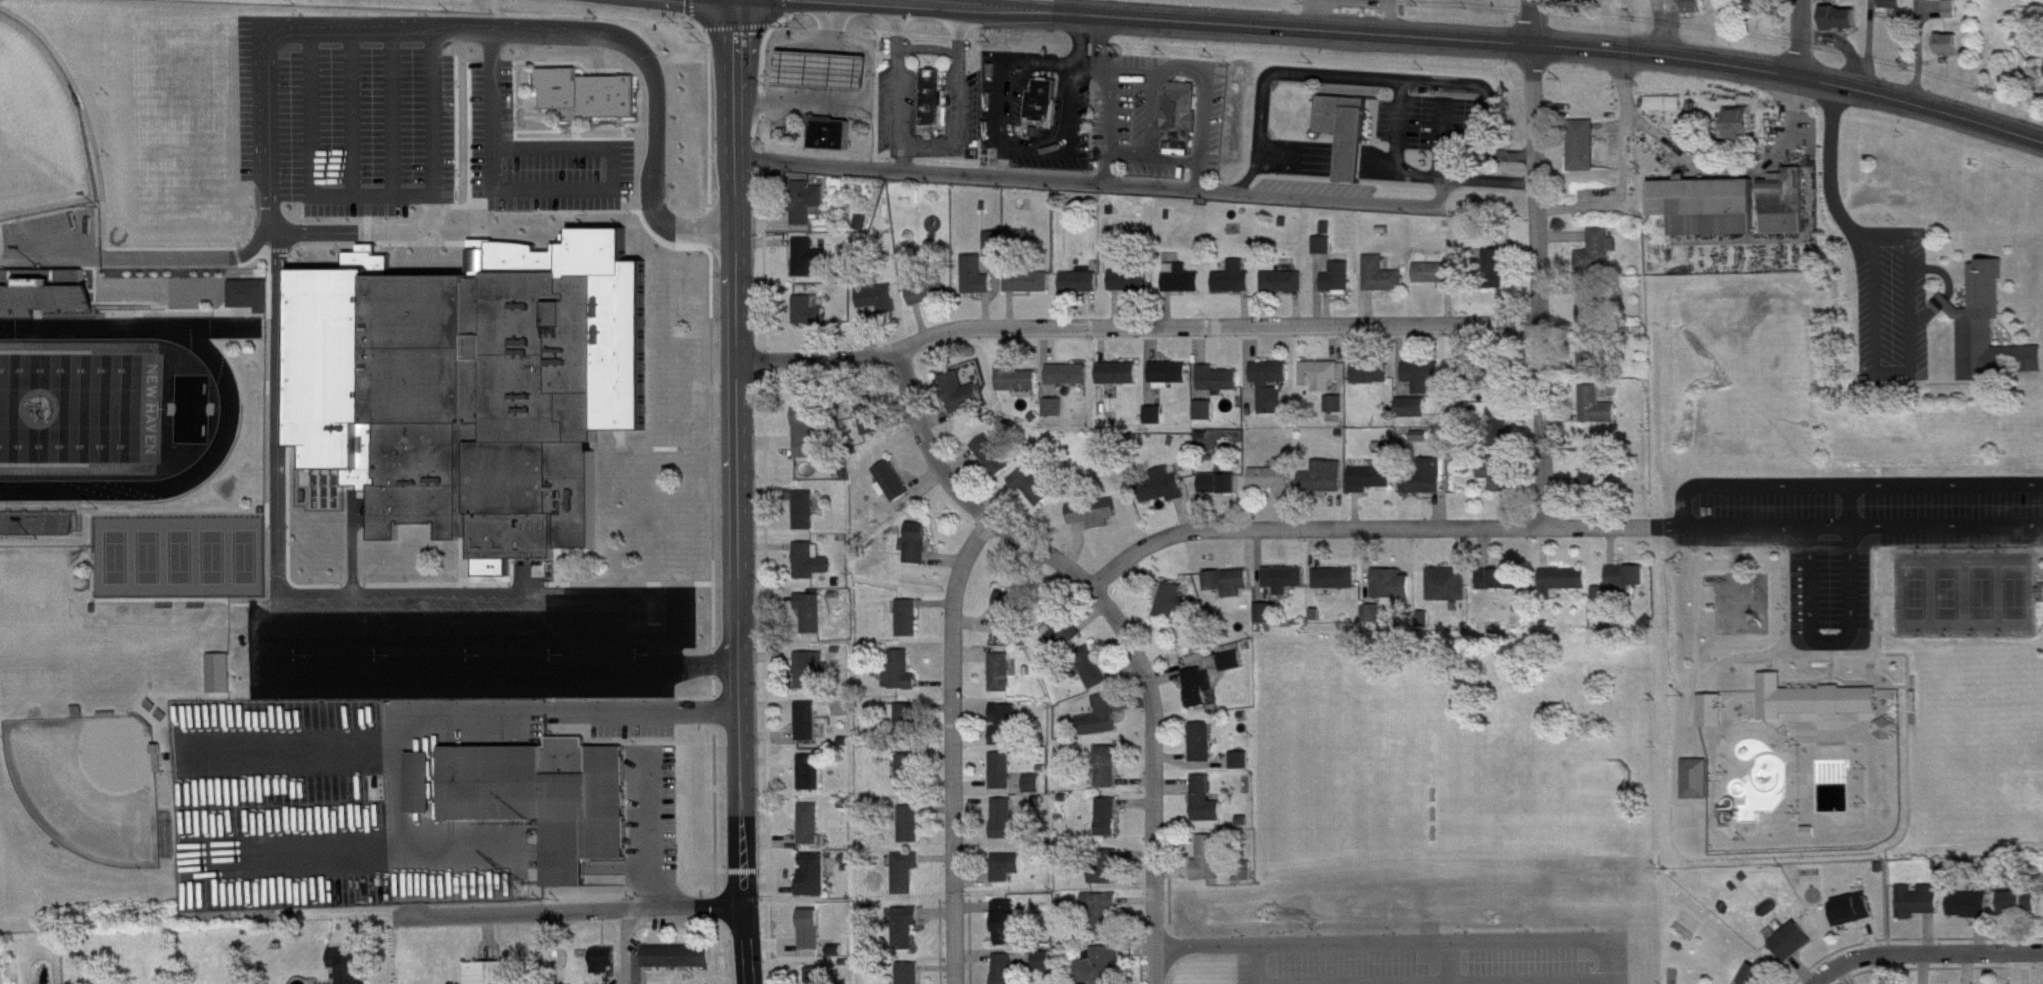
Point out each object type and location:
building: (1373, 4)
building: (1698, 12)
building: (1762, 13)
building: (1954, 18)
road: (1533, 21)
building: (1842, 27)
road: (895, 30)
building: (195, 33)
road: (588, 36)
road: (1799, 38)
road: (1075, 39)
road: (1474, 39)
road: (1101, 40)
road: (925, 47)
building: (190, 49)
building: (1950, 53)
road: (1088, 66)
road: (1128, 68)
road: (1273, 73)
building: (823, 79)
road: (1203, 90)
building: (586, 92)
road: (957, 98)
road: (1483, 100)
road: (898, 102)
building: (936, 106)
building: (1045, 109)
building: (1666, 112)
road: (349, 113)
road: (390, 113)
road: (430, 113)
road: (1152, 113)
road: (267, 114)
road: (309, 114)
road: (1111, 120)
parking lot: (343, 122)
building: (1183, 127)
park: (34, 130)
building: (1741, 132)
road: (1004, 134)
building: (1348, 140)
building: (834, 142)
road: (1395, 152)
road: (901, 153)
building: (1585, 154)
parking lot: (535, 155)
road: (1129, 155)
road: (1174, 157)
road: (1198, 171)
road: (1625, 173)
road: (1140, 180)
road: (553, 187)
road: (370, 194)
building: (809, 211)
building: (1785, 211)
building: (1708, 215)
road: (272, 219)
parking lot: (51, 230)
building: (865, 231)
building: (1329, 236)
building: (996, 252)
building: (1325, 253)
road: (146, 258)
building: (1599, 259)
building: (811, 266)
building: (1497, 277)
building: (1438, 283)
building: (977, 284)
building: (1384, 284)
road: (1536, 285)
building: (1183, 287)
building: (1235, 287)
building: (1340, 287)
building: (1132, 289)
building: (1082, 290)
building: (1285, 290)
building: (1029, 291)
building: (930, 301)
building: (251, 303)
building: (880, 307)
building: (45, 309)
building: (1594, 311)
building: (811, 319)
road: (277, 325)
road: (1133, 326)
building: (1989, 337)
building: (1591, 361)
building: (1465, 379)
building: (1171, 381)
building: (1120, 382)
building: (1374, 382)
building: (1069, 383)
building: (1322, 383)
building: (1424, 384)
building: (1495, 385)
building: (473, 386)
building: (1018, 387)
building: (1220, 387)
building: (1273, 393)
building: (963, 402)
track: (228, 403)
park: (79, 407)
building: (1337, 412)
building: (1599, 415)
building: (1055, 416)
building: (1415, 416)
building: (1206, 419)
building: (1157, 423)
building: (872, 425)
building: (1501, 432)
building: (809, 440)
building: (994, 464)
building: (1598, 476)
building: (1500, 482)
road: (1846, 484)
building: (1275, 486)
building: (1325, 486)
building: (1372, 487)
building: (1428, 487)
building: (896, 490)
road: (737, 492)
building: (1222, 492)
building: (1035, 495)
building: (1164, 495)
road: (1849, 504)
building: (807, 519)
building: (1096, 522)
road: (1760, 524)
road: (1946, 524)
road: (1373, 529)
parking lot: (1853, 531)
building: (918, 552)
park: (212, 555)
park: (244, 555)
park: (115, 556)
park: (148, 556)
park: (179, 556)
building: (813, 570)
building: (1338, 587)
building: (1566, 587)
building: (1629, 587)
building: (1287, 588)
building: (1502, 588)
building: (1231, 591)
park: (1963, 592)
building: (1394, 593)
building: (1450, 593)
road: (475, 596)
park: (1830, 601)
building: (2041, 601)
building: (1173, 609)
building: (1009, 620)
building: (1267, 621)
building: (812, 622)
building: (1375, 622)
road: (1121, 625)
building: (910, 627)
road: (274, 631)
road: (466, 635)
building: (1063, 640)
parking lot: (468, 641)
road: (1828, 643)
road: (704, 664)
building: (1234, 669)
building: (1093, 676)
building: (815, 679)
building: (902, 681)
building: (1003, 681)
building: (224, 682)
building: (1201, 695)
building: (1811, 698)
building: (1708, 708)
road: (456, 714)
building: (1102, 726)
building: (909, 728)
building: (810, 730)
park: (1982, 731)
building: (1007, 733)
road: (290, 749)
road: (956, 751)
building: (1204, 751)
building: (1243, 769)
building: (1110, 776)
building: (1693, 777)
building: (1004, 780)
building: (910, 781)
building: (813, 782)
park: (85, 783)
building: (422, 792)
building: (1036, 792)
building: (543, 795)
parking lot: (650, 805)
building: (1207, 809)
building: (1111, 826)
building: (1006, 827)
road: (649, 830)
building: (1806, 830)
building: (912, 833)
building: (813, 834)
road: (296, 852)
building: (1210, 867)
building: (1009, 875)
building: (1109, 875)
building: (908, 881)
road: (409, 882)
building: (1245, 883)
building: (816, 884)
road: (568, 909)
building: (1920, 909)
building: (2020, 909)
building: (1971, 913)
building: (1853, 918)
building: (1107, 921)
building: (1007, 931)
building: (908, 936)
building: (813, 938)
road: (1400, 940)
building: (1794, 950)
road: (1927, 954)
parking lot: (1435, 958)
road: (1448, 962)
road: (1256, 964)
building: (680, 965)
building: (345, 969)
building: (605, 969)
building: (1045, 969)
building: (1102, 971)
building: (1007, 973)
building: (495, 977)
building: (912, 977)
building: (1759, 979)
building: (819, 980)
road: (1483, 982)

